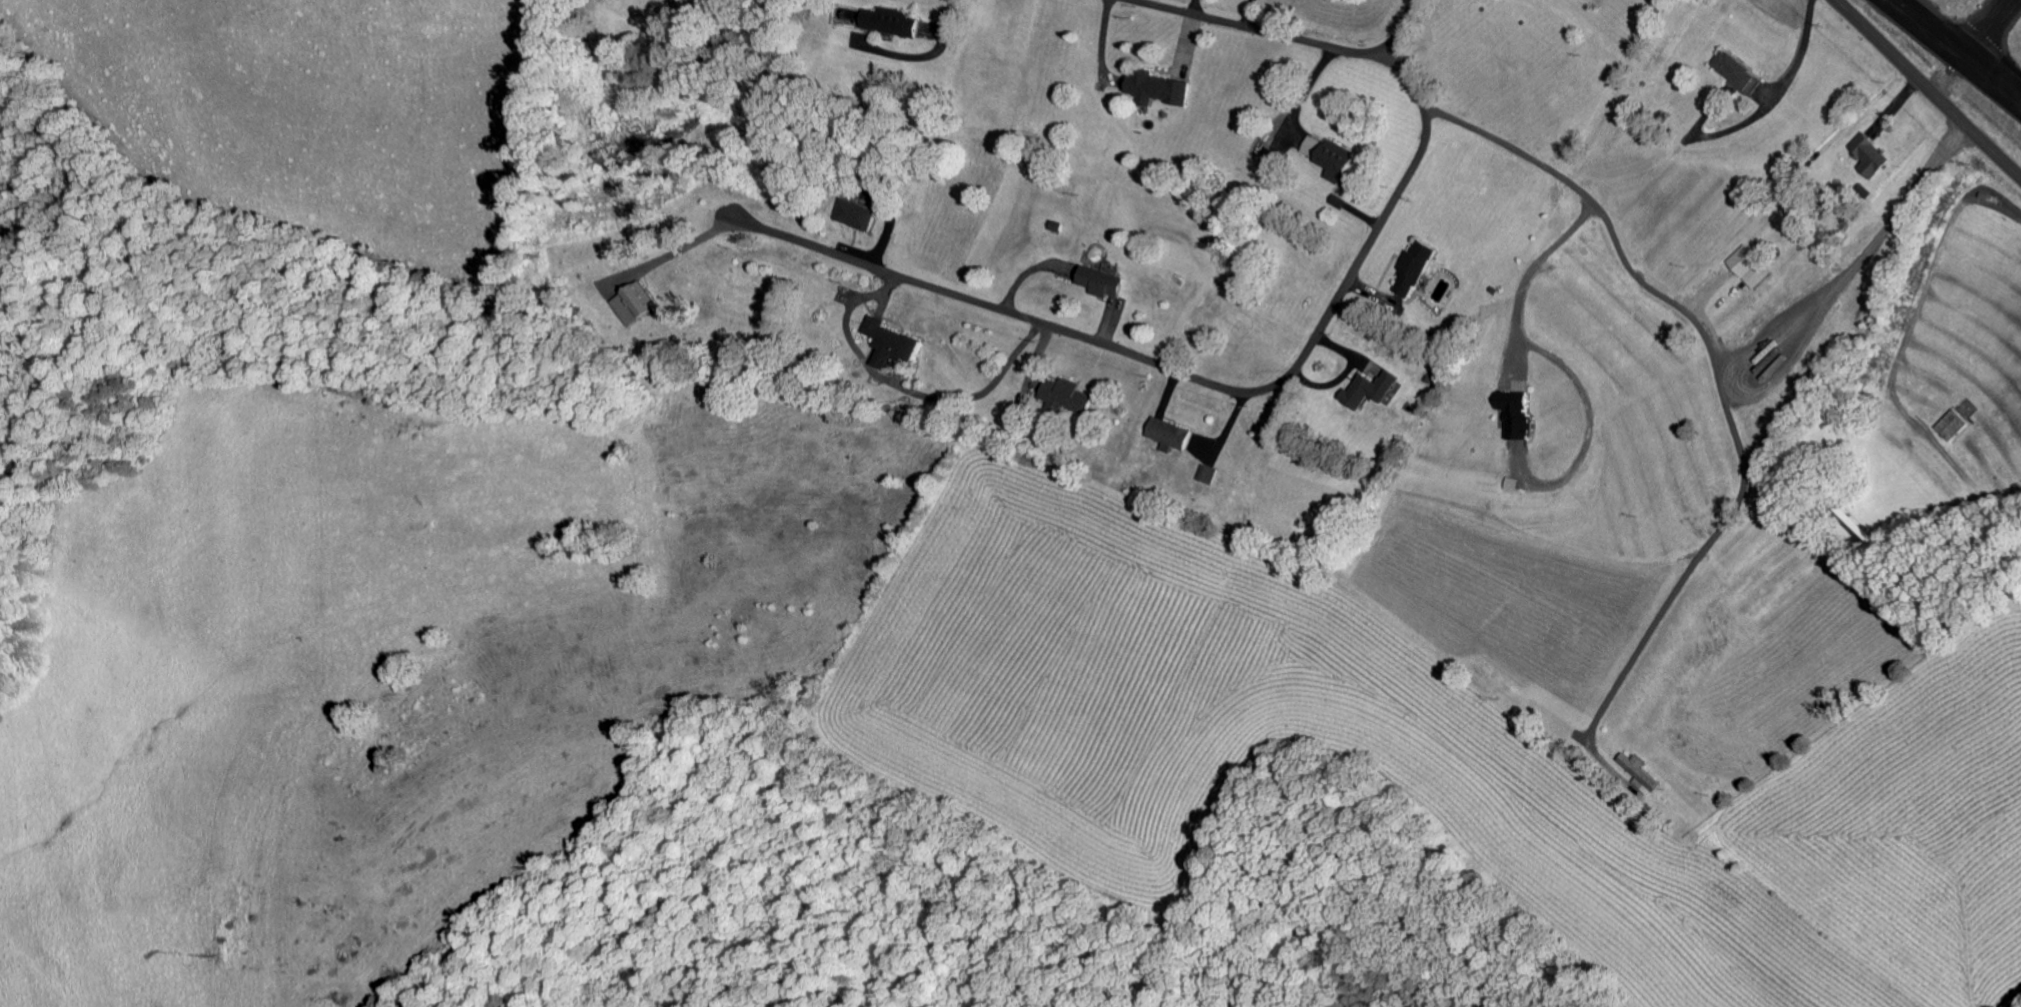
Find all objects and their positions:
building: (889, 26)
road: (1255, 33)
road: (1971, 47)
building: (1734, 74)
road: (1926, 90)
building: (1150, 93)
building: (1867, 160)
building: (1326, 161)
building: (1267, 165)
building: (854, 219)
building: (1746, 271)
building: (1412, 273)
building: (1096, 286)
building: (632, 308)
building: (887, 347)
road: (1212, 385)
building: (1368, 394)
building: (1065, 400)
building: (1515, 418)
building: (1168, 439)
building: (1204, 479)
building: (1637, 777)

